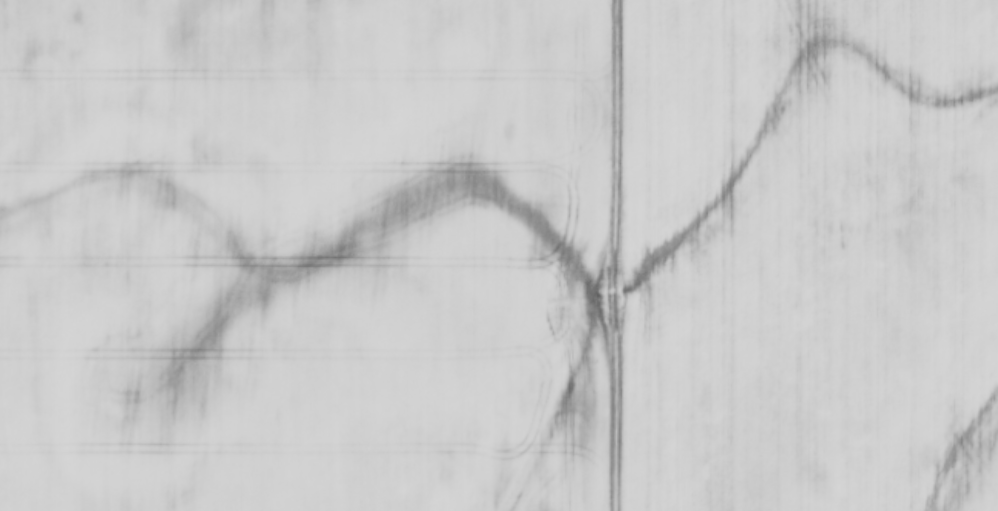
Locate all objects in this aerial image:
road: (621, 255)

